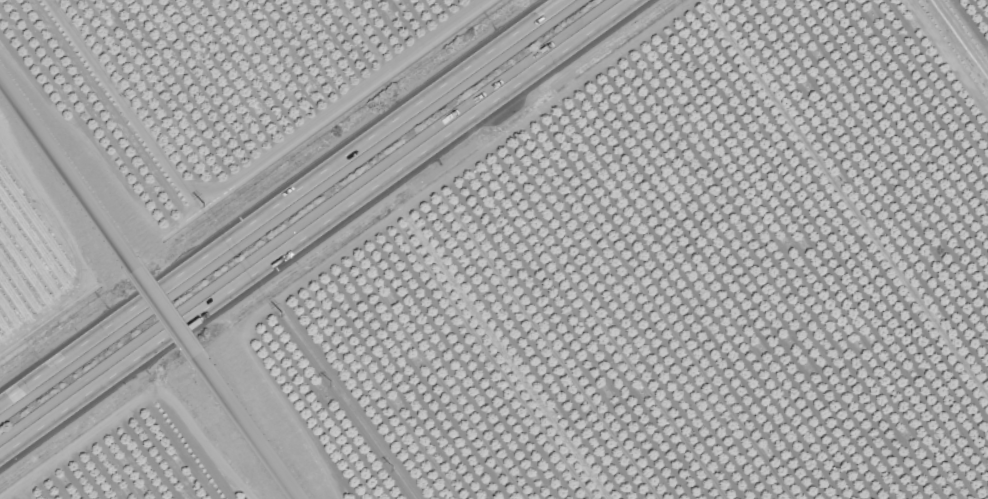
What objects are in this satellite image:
road: (68, 176)
road: (286, 204)
road: (321, 230)
road: (167, 318)
road: (247, 429)

